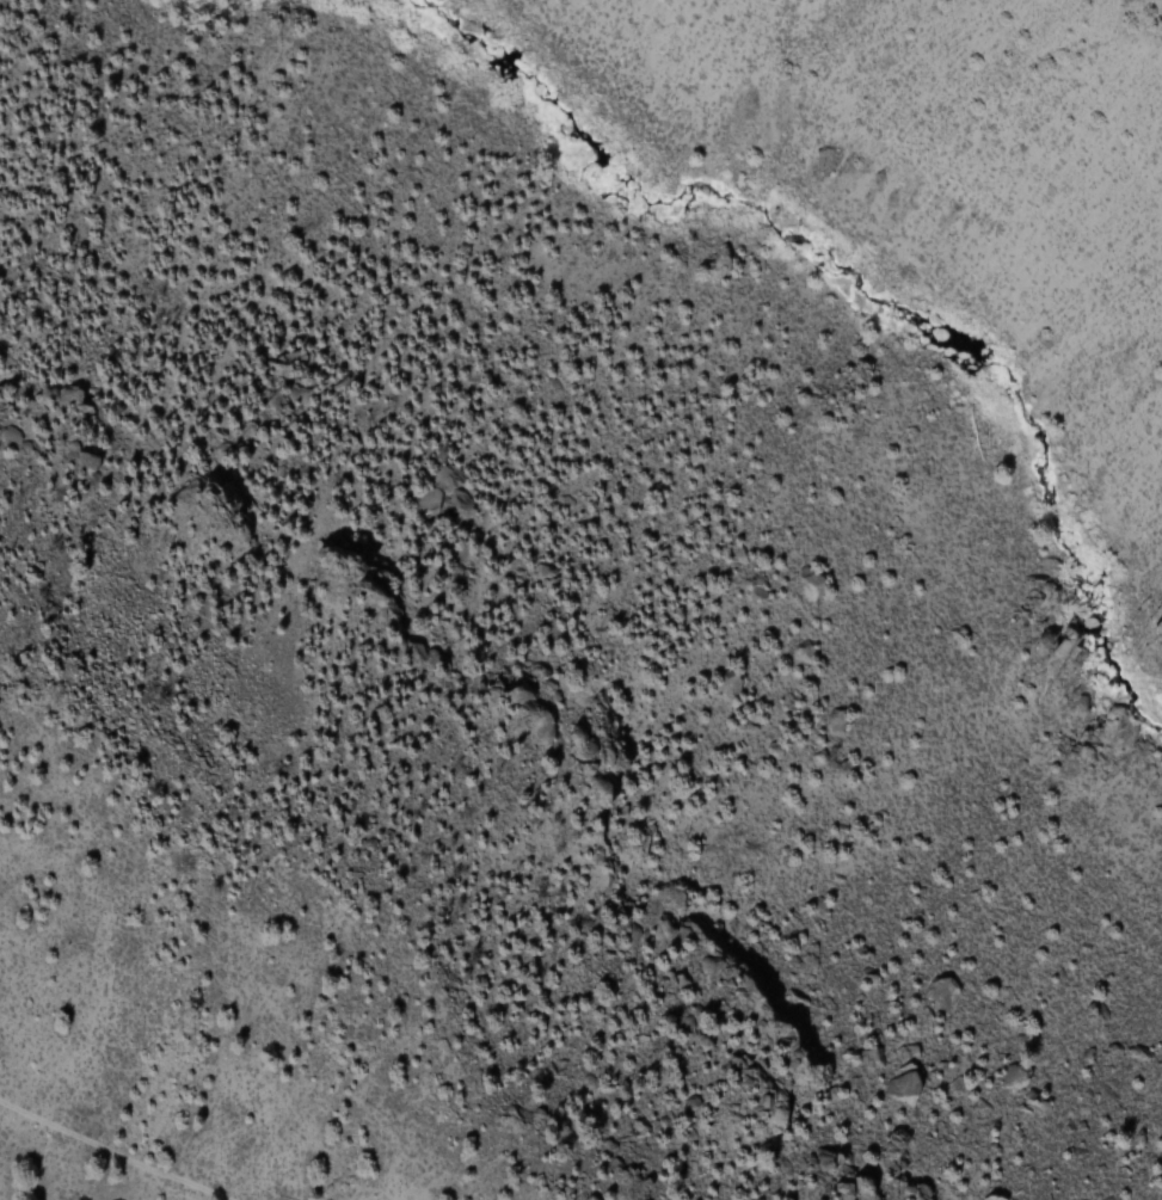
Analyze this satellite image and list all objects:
road: (113, 1155)

